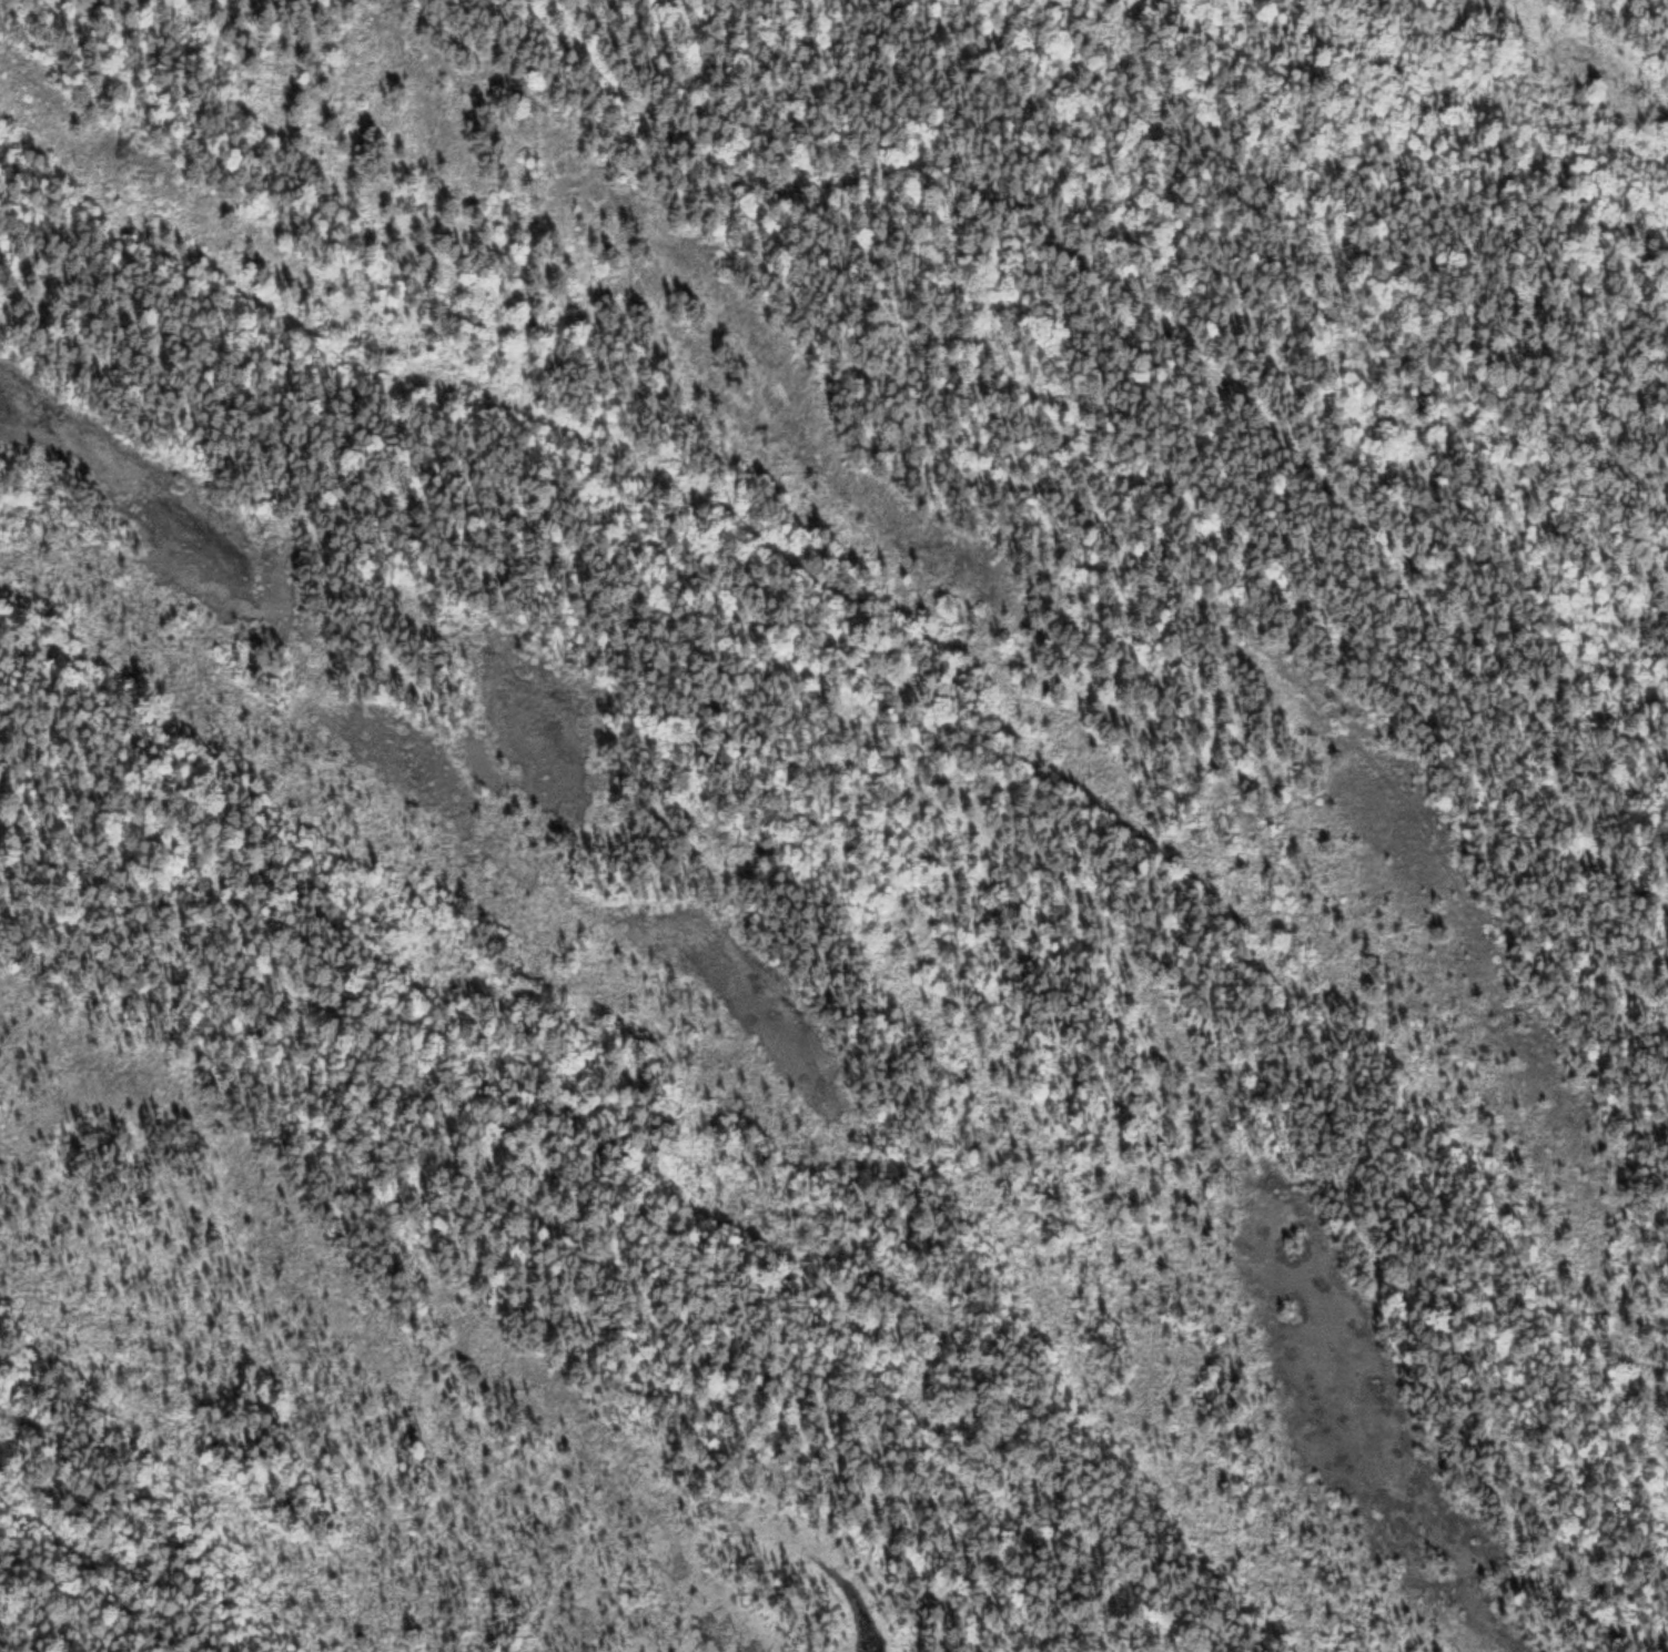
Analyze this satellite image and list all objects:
road: (1166, 337)

